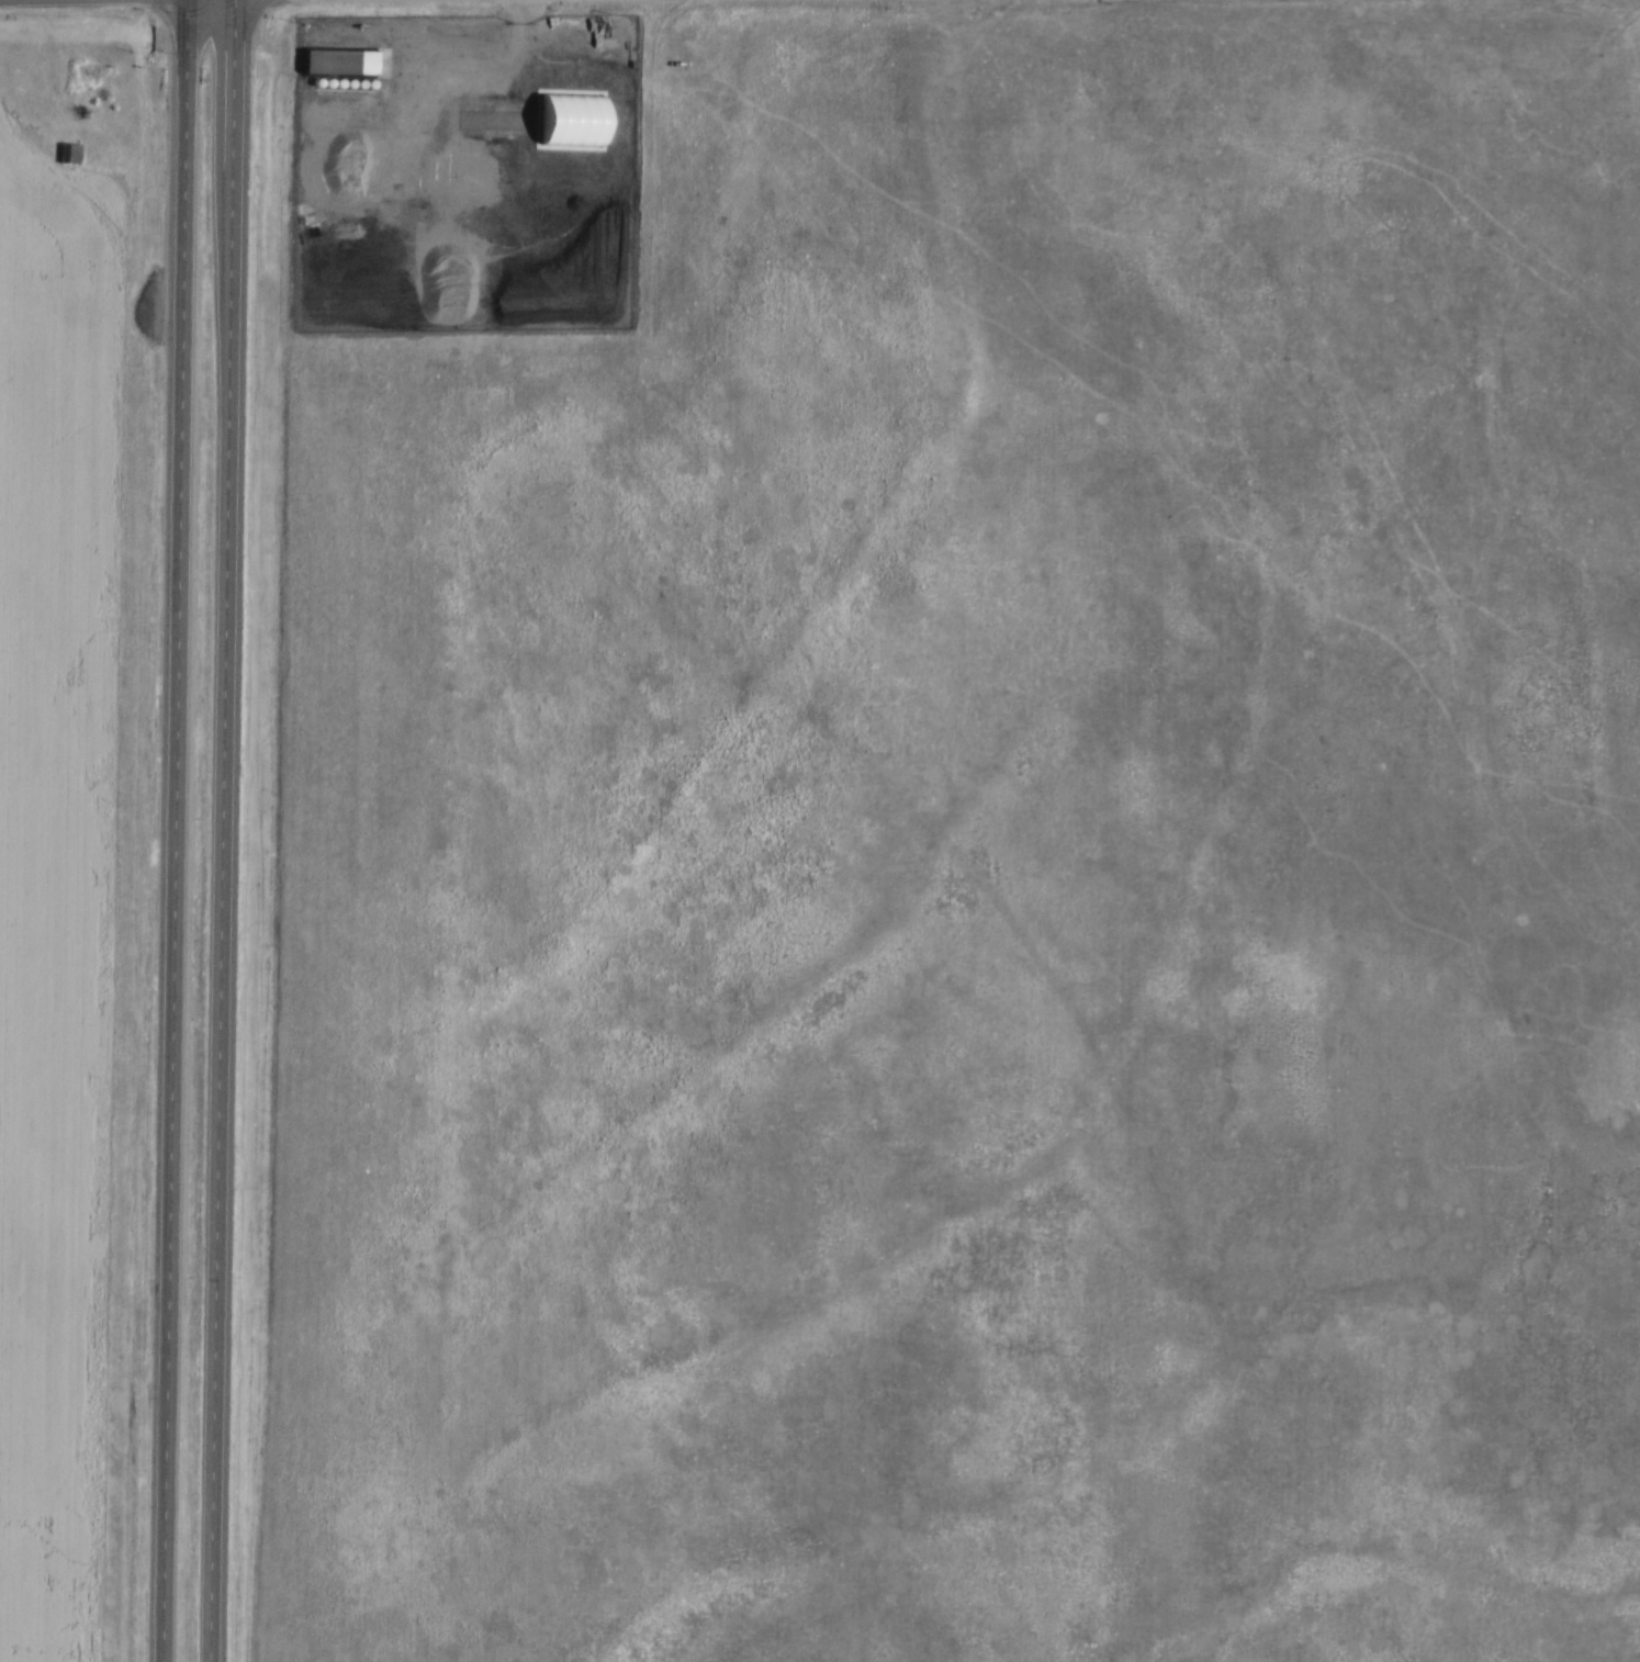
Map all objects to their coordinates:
building: (337, 60)
building: (570, 117)
building: (67, 150)
road: (178, 830)
road: (226, 830)
building: (218, 1395)

